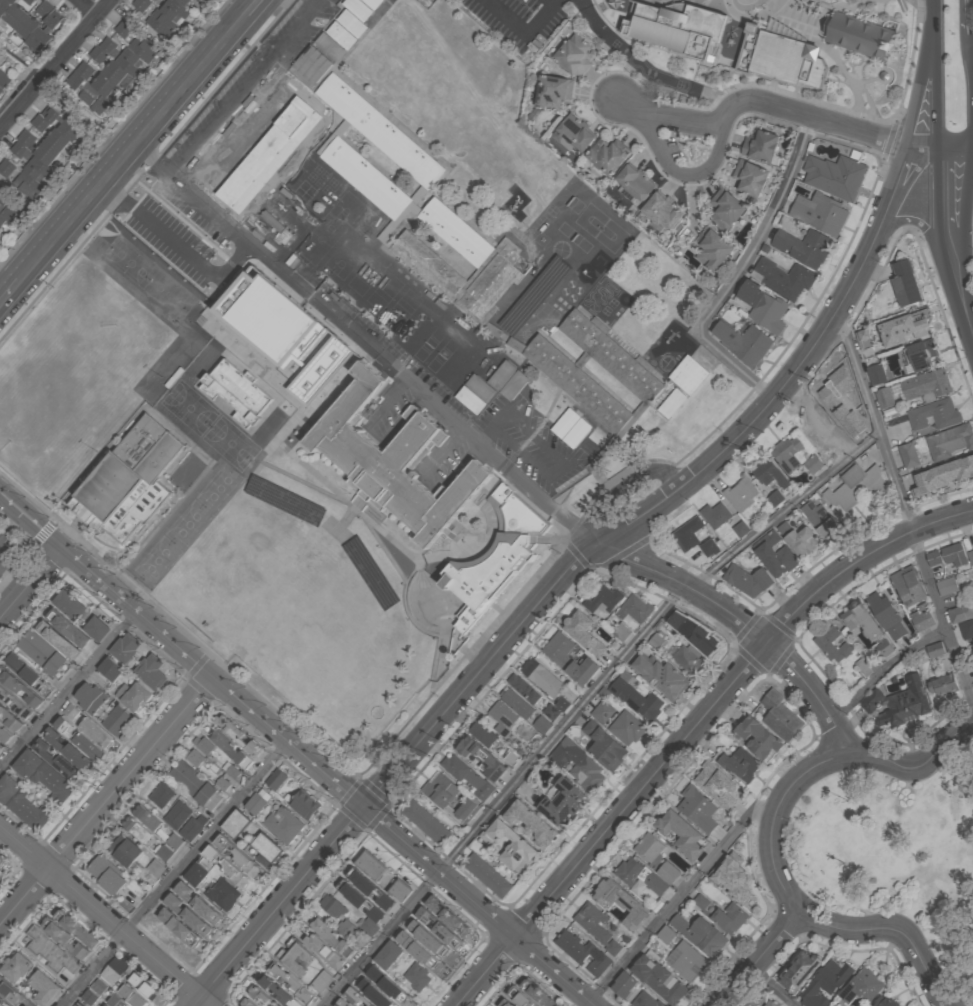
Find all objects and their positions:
building: (825, 0)
building: (831, 1)
building: (883, 1)
building: (184, 2)
road: (550, 2)
building: (5, 7)
road: (86, 7)
road: (256, 8)
building: (174, 9)
building: (17, 13)
building: (155, 18)
building: (35, 19)
building: (346, 27)
building: (674, 32)
road: (524, 33)
building: (46, 34)
building: (859, 37)
building: (572, 55)
parking lot: (661, 57)
building: (781, 58)
road: (53, 64)
building: (312, 64)
building: (110, 67)
building: (3, 80)
road: (246, 88)
building: (551, 92)
road: (916, 96)
road: (788, 110)
building: (62, 123)
building: (50, 132)
building: (575, 132)
building: (759, 145)
building: (398, 146)
road: (937, 147)
road: (135, 148)
building: (43, 152)
building: (605, 156)
building: (32, 161)
road: (682, 174)
building: (833, 176)
building: (749, 177)
building: (24, 182)
building: (634, 182)
building: (7, 207)
building: (725, 209)
building: (661, 210)
building: (820, 214)
building: (2, 221)
road: (913, 223)
road: (964, 228)
building: (0, 237)
building: (803, 246)
building: (712, 248)
building: (495, 258)
park: (132, 263)
road: (741, 272)
building: (783, 278)
building: (904, 283)
road: (9, 290)
park: (170, 295)
building: (762, 307)
road: (967, 311)
building: (905, 327)
building: (864, 338)
building: (742, 342)
road: (366, 348)
building: (922, 353)
building: (611, 354)
building: (877, 373)
building: (508, 379)
building: (576, 382)
building: (683, 384)
building: (236, 391)
building: (476, 394)
building: (885, 397)
building: (934, 415)
building: (571, 427)
building: (950, 440)
building: (909, 454)
building: (795, 456)
building: (393, 461)
building: (770, 473)
building: (943, 476)
building: (130, 480)
building: (853, 488)
road: (622, 489)
building: (739, 494)
building: (776, 497)
road: (666, 498)
road: (905, 512)
building: (716, 514)
road: (71, 516)
building: (818, 518)
building: (741, 528)
building: (686, 534)
building: (797, 539)
building: (709, 547)
building: (773, 554)
building: (955, 554)
building: (970, 556)
building: (934, 557)
building: (496, 558)
road: (123, 568)
road: (14, 572)
building: (746, 580)
road: (31, 582)
building: (947, 585)
building: (909, 586)
building: (603, 599)
building: (70, 603)
building: (635, 608)
building: (961, 612)
building: (886, 615)
building: (678, 617)
building: (923, 617)
road: (746, 624)
building: (67, 626)
building: (867, 626)
building: (97, 627)
building: (967, 628)
building: (623, 631)
building: (582, 633)
building: (59, 639)
building: (658, 639)
building: (703, 639)
building: (833, 644)
building: (127, 647)
building: (936, 649)
building: (45, 654)
building: (690, 658)
building: (559, 659)
building: (112, 668)
road: (886, 670)
building: (152, 671)
building: (28, 673)
building: (659, 677)
building: (541, 678)
building: (943, 685)
building: (20, 686)
building: (524, 688)
road: (69, 692)
building: (133, 695)
building: (91, 697)
road: (722, 697)
building: (635, 700)
building: (20, 702)
building: (518, 703)
road: (586, 703)
building: (896, 704)
building: (71, 711)
building: (603, 711)
building: (779, 716)
building: (501, 718)
building: (11, 719)
building: (116, 720)
building: (542, 724)
building: (628, 727)
building: (97, 733)
building: (4, 734)
building: (237, 735)
building: (490, 736)
building: (758, 737)
building: (79, 738)
road: (948, 743)
building: (205, 744)
building: (603, 746)
building: (1, 747)
road: (296, 748)
building: (70, 749)
building: (231, 750)
building: (193, 756)
building: (513, 757)
building: (56, 759)
building: (479, 759)
building: (737, 763)
building: (576, 765)
building: (232, 770)
building: (44, 774)
building: (467, 777)
building: (276, 778)
building: (191, 782)
building: (223, 783)
road: (794, 783)
building: (715, 785)
building: (160, 796)
building: (449, 796)
road: (106, 799)
building: (22, 802)
building: (256, 803)
building: (561, 803)
building: (305, 804)
building: (696, 808)
building: (176, 815)
building: (147, 817)
building: (234, 824)
building: (285, 824)
building: (429, 824)
building: (531, 824)
building: (137, 828)
building: (191, 828)
building: (680, 834)
building: (175, 841)
building: (509, 846)
building: (266, 848)
building: (126, 850)
building: (165, 852)
park: (893, 852)
building: (238, 857)
building: (654, 857)
building: (1, 860)
building: (156, 867)
building: (370, 867)
building: (227, 869)
road: (177, 874)
building: (105, 875)
building: (195, 875)
building: (487, 875)
building: (639, 876)
building: (730, 876)
building: (400, 891)
building: (222, 894)
building: (365, 900)
road: (678, 901)
building: (702, 901)
building: (619, 902)
building: (197, 904)
road: (277, 904)
building: (331, 907)
road: (103, 915)
building: (187, 916)
building: (448, 917)
building: (730, 917)
building: (595, 926)
building: (368, 927)
building: (179, 928)
building: (76, 929)
building: (439, 929)
building: (346, 930)
road: (894, 930)
building: (408, 932)
building: (666, 934)
building: (327, 935)
building: (699, 935)
building: (64, 937)
building: (573, 947)
building: (51, 951)
building: (323, 952)
building: (386, 955)
building: (434, 956)
road: (761, 959)
building: (289, 960)
building: (687, 960)
building: (597, 965)
building: (15, 968)
building: (112, 971)
building: (797, 971)
road: (487, 972)
building: (416, 977)
building: (658, 977)
building: (139, 983)
building: (322, 983)
building: (387, 983)
building: (824, 984)
building: (293, 985)
building: (623, 985)
building: (863, 986)
building: (43, 989)
road: (770, 989)
building: (12, 993)
building: (92, 993)
building: (279, 993)
building: (376, 993)
building: (128, 994)
building: (537, 994)
building: (260, 997)
building: (354, 997)
building: (519, 997)
building: (644, 1000)
building: (887, 1001)
building: (3, 1002)
building: (116, 1002)
building: (245, 1003)
building: (341, 1003)
building: (504, 1003)
building: (771, 1003)
building: (373, 1004)
building: (834, 1005)

